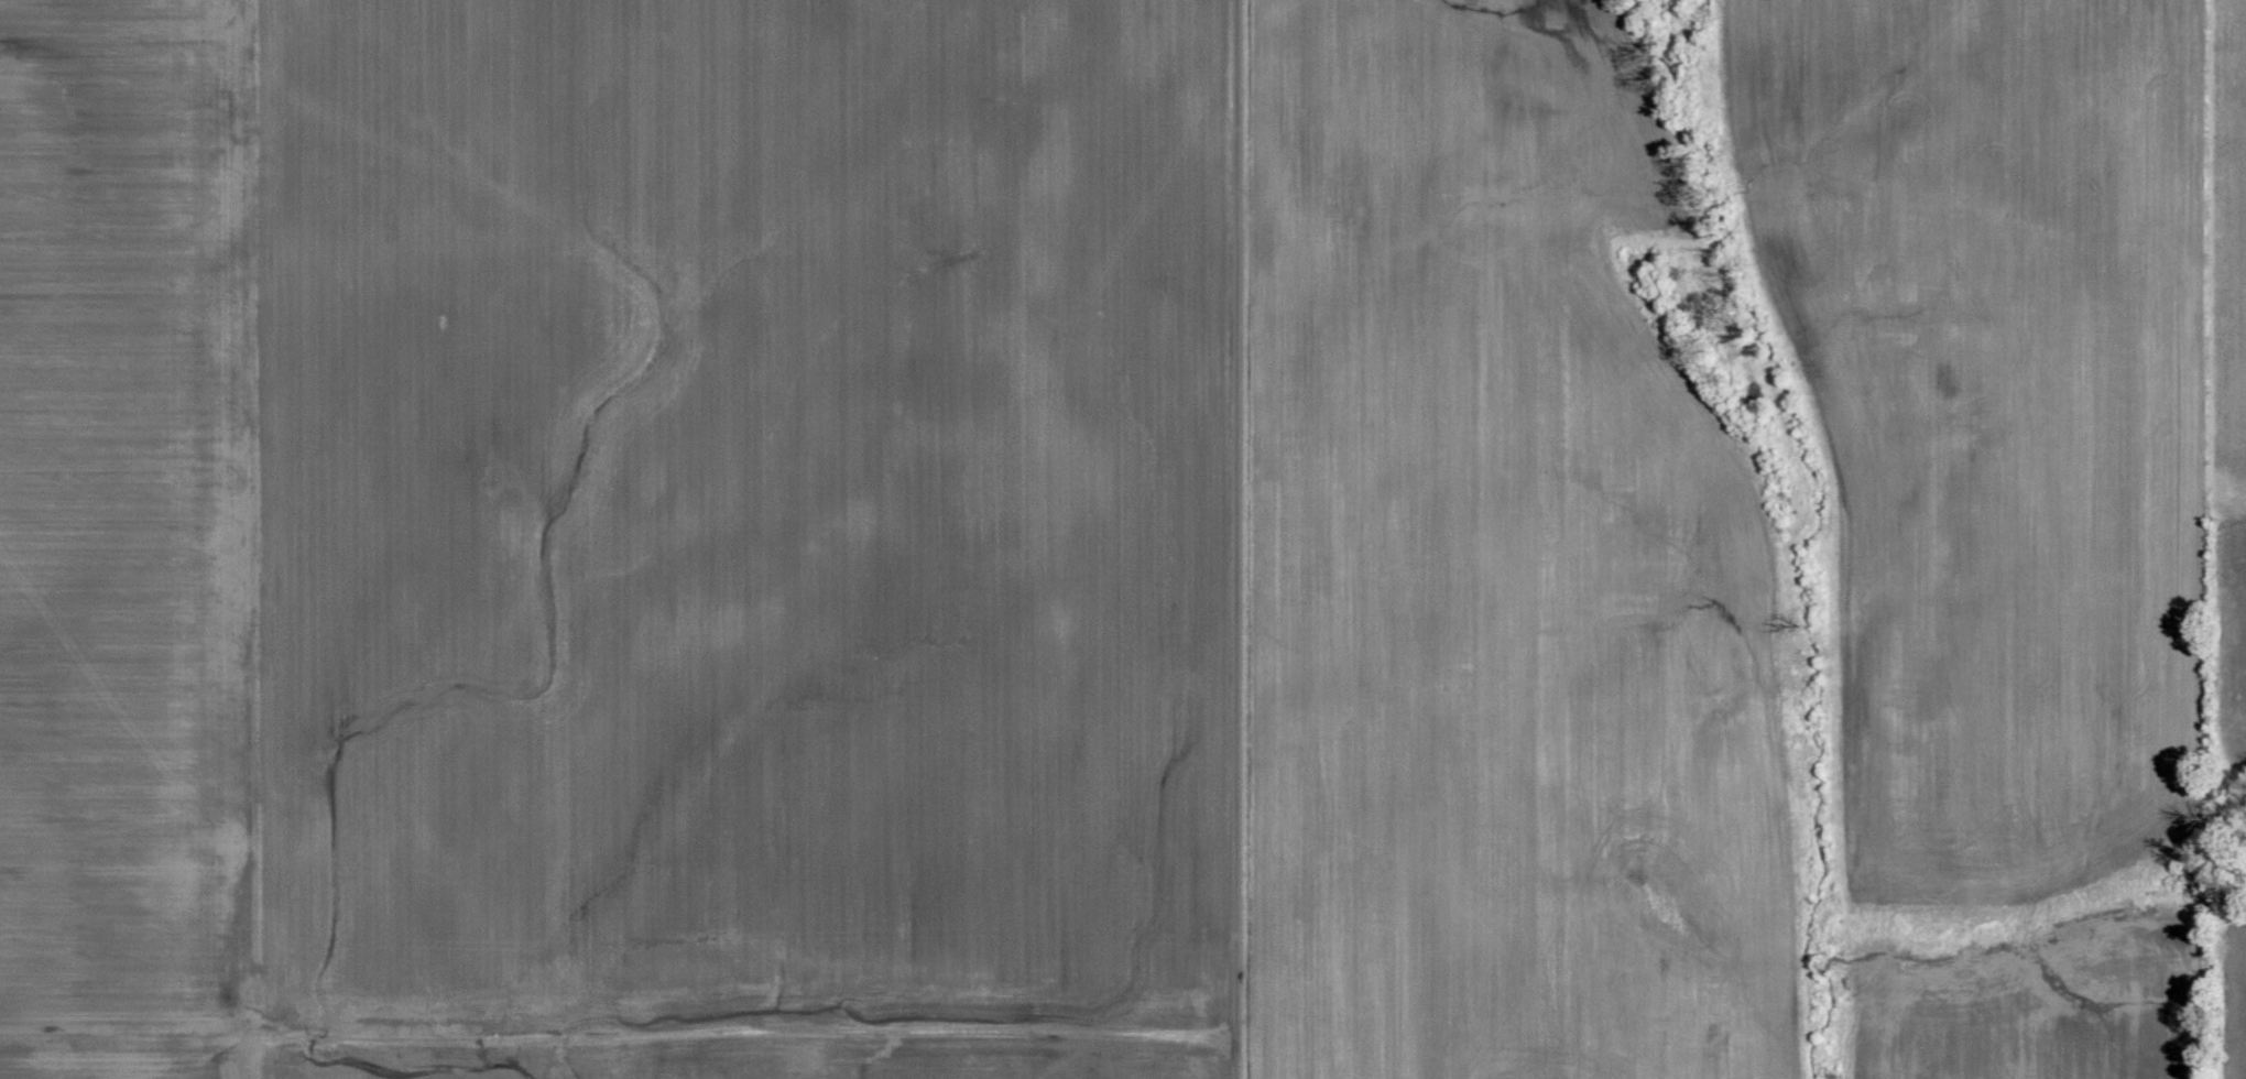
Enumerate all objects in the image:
road: (1242, 539)

